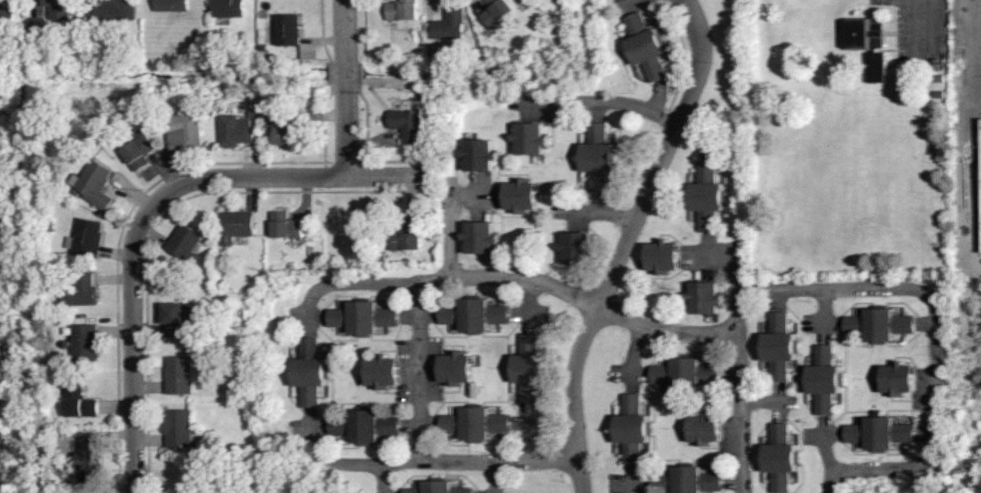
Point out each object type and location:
building: (171, 4)
building: (58, 8)
building: (229, 8)
building: (402, 8)
building: (112, 9)
building: (495, 11)
road: (939, 13)
building: (7, 17)
building: (447, 24)
building: (288, 28)
building: (868, 44)
building: (644, 45)
road: (960, 63)
road: (345, 88)
road: (598, 101)
building: (407, 124)
building: (185, 128)
building: (284, 128)
building: (236, 129)
building: (529, 137)
building: (140, 148)
building: (478, 154)
building: (596, 156)
building: (980, 162)
building: (94, 183)
building: (520, 195)
building: (706, 195)
road: (152, 207)
building: (285, 224)
building: (236, 225)
road: (450, 230)
building: (406, 234)
building: (87, 236)
building: (479, 236)
building: (185, 241)
road: (625, 242)
building: (575, 246)
building: (661, 255)
road: (735, 265)
road: (451, 276)
building: (82, 290)
building: (703, 297)
building: (473, 314)
building: (178, 315)
building: (362, 316)
building: (878, 323)
road: (665, 331)
road: (937, 336)
building: (85, 342)
building: (778, 346)
building: (454, 367)
building: (528, 367)
road: (420, 369)
building: (310, 371)
building: (382, 371)
building: (685, 373)
building: (179, 374)
building: (824, 378)
building: (898, 378)
building: (79, 401)
road: (742, 411)
building: (473, 422)
building: (363, 424)
building: (178, 427)
building: (632, 427)
building: (704, 427)
building: (879, 431)
building: (780, 456)
building: (89, 460)
road: (440, 461)
building: (686, 479)
building: (438, 487)

